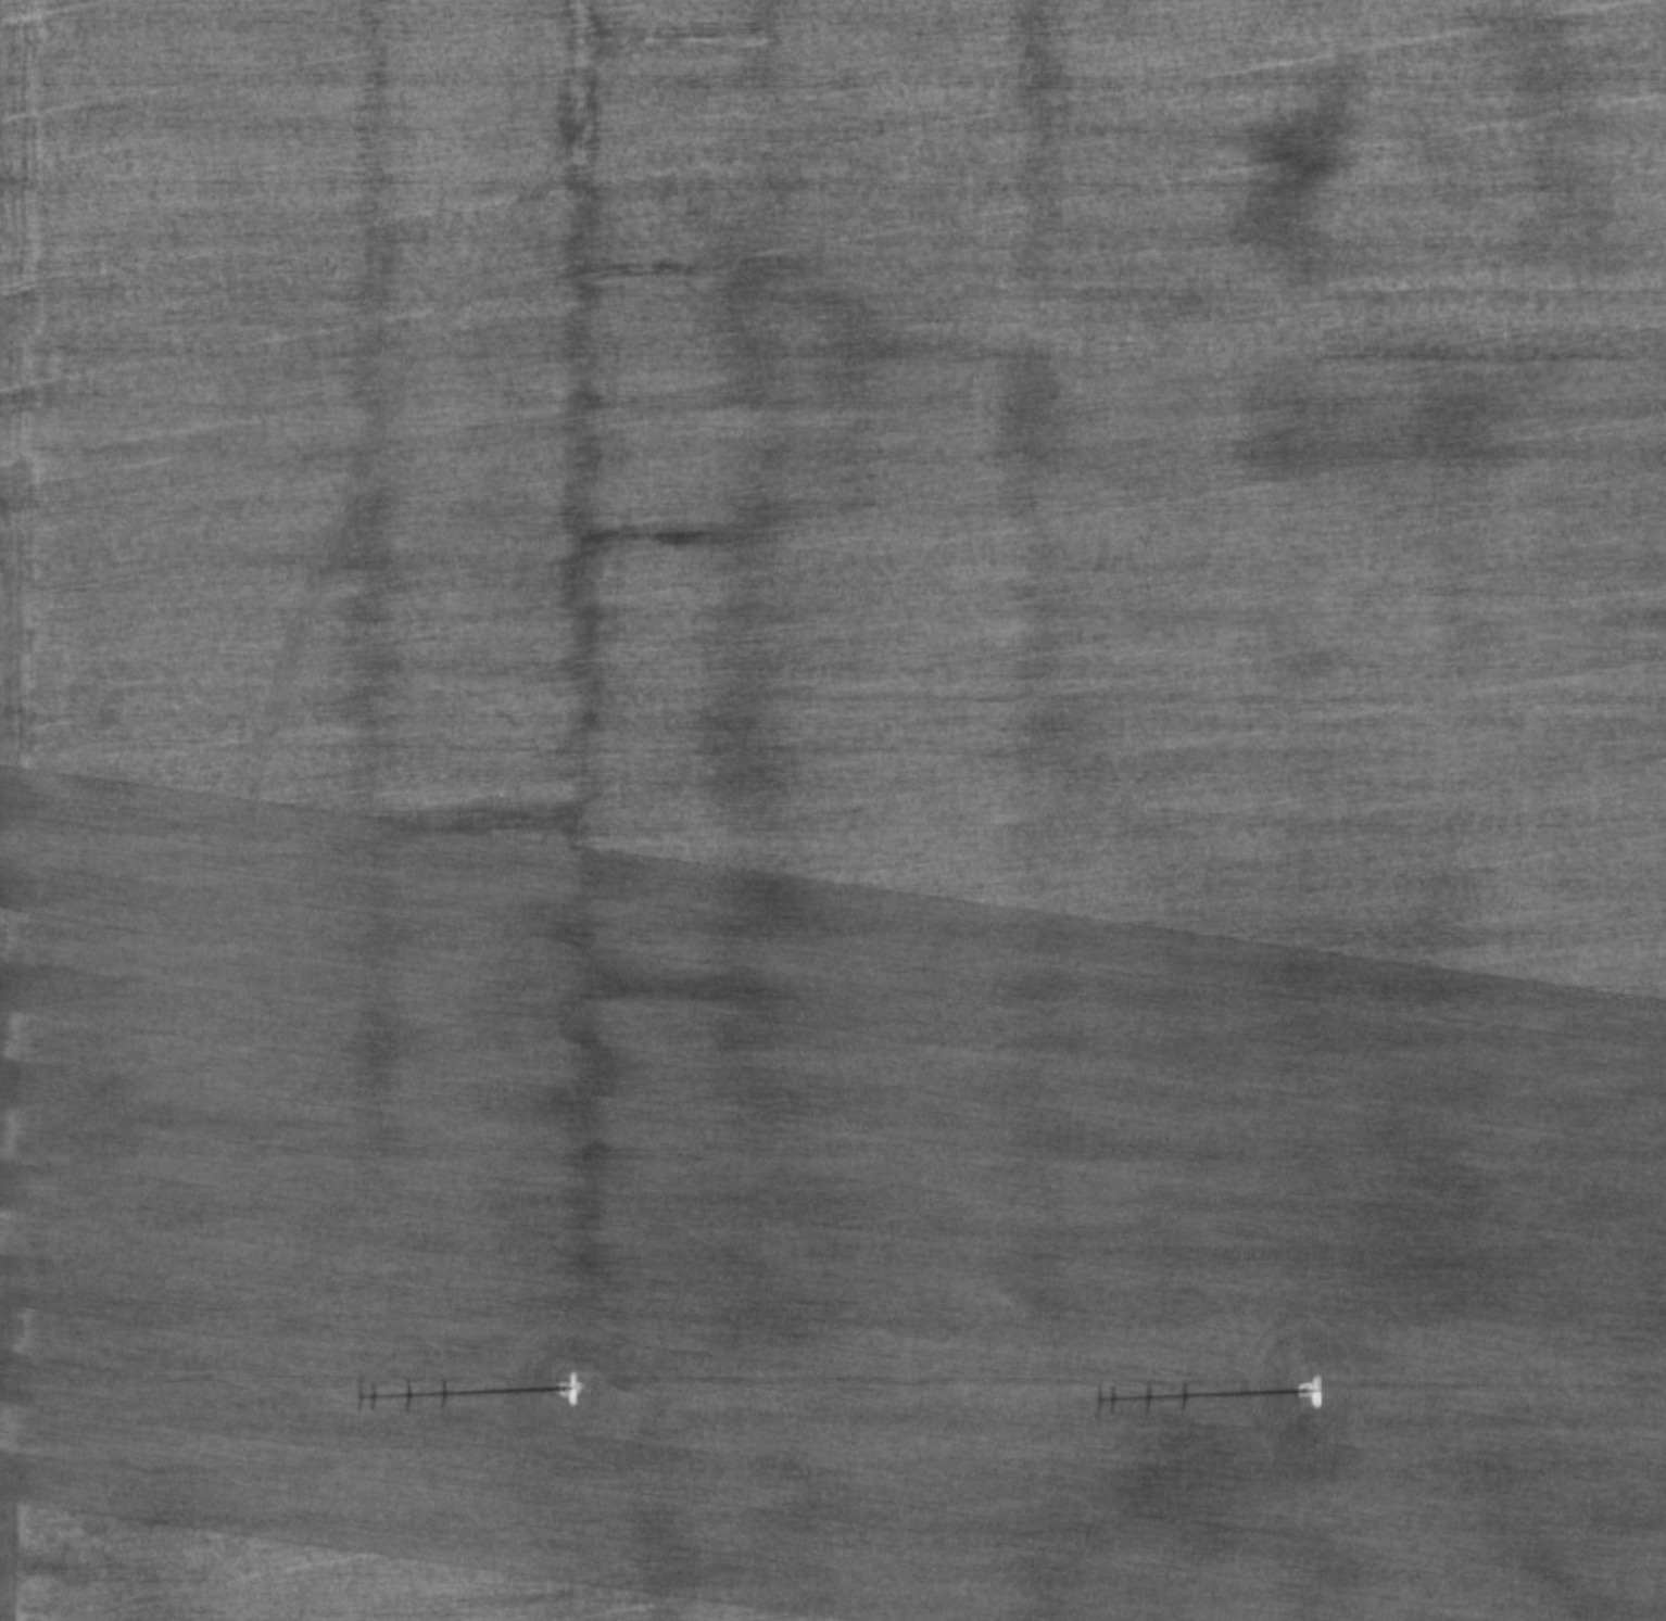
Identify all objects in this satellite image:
power tower: (566, 1389)
power tower: (1307, 1392)

